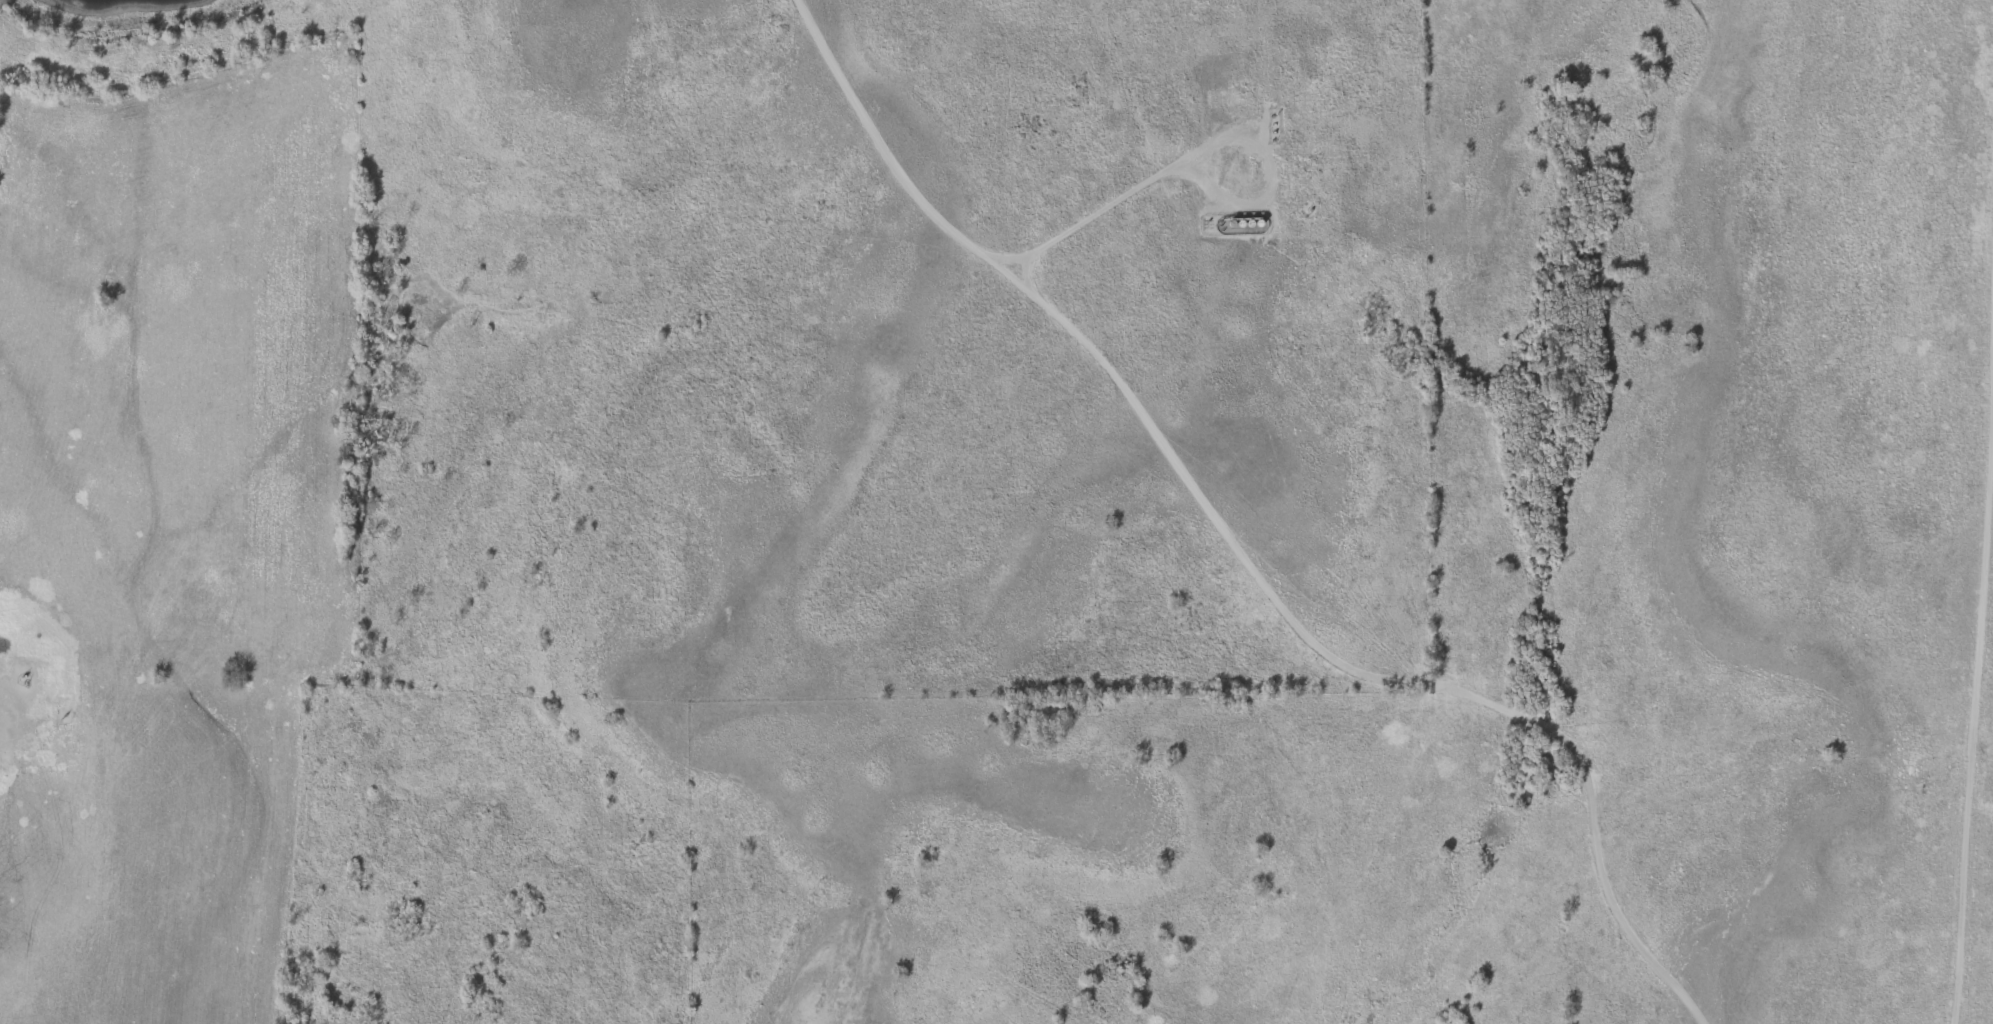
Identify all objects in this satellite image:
road: (1109, 201)
road: (1237, 555)
road: (1977, 633)

